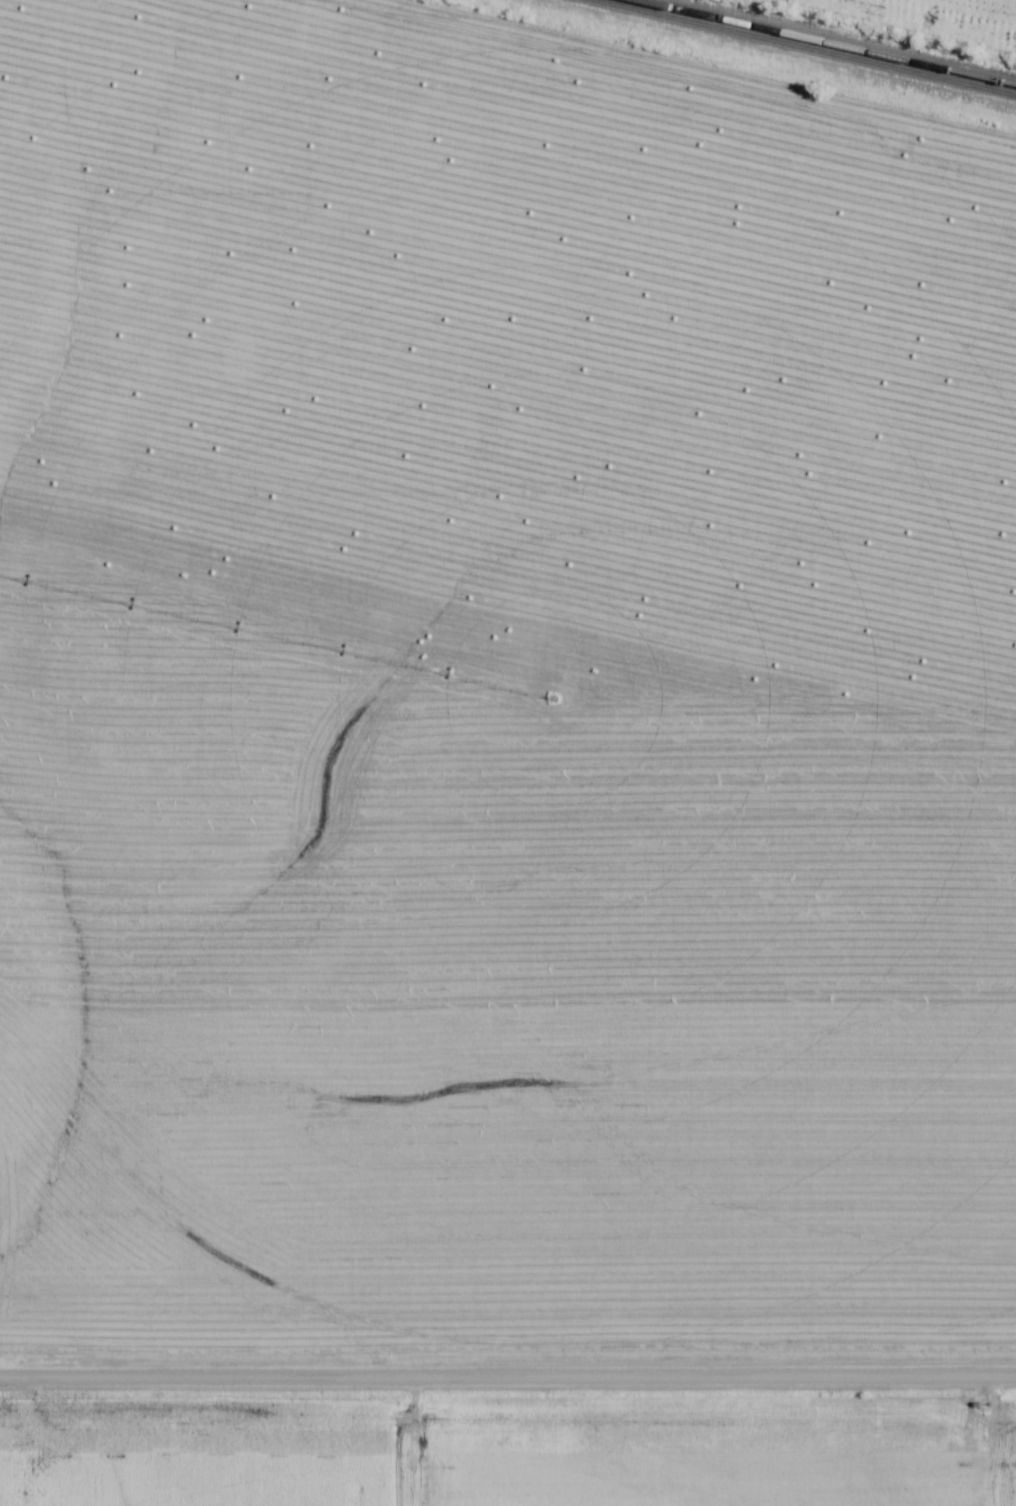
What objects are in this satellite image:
railway: (825, 42)
railway: (801, 48)
road: (508, 1379)

